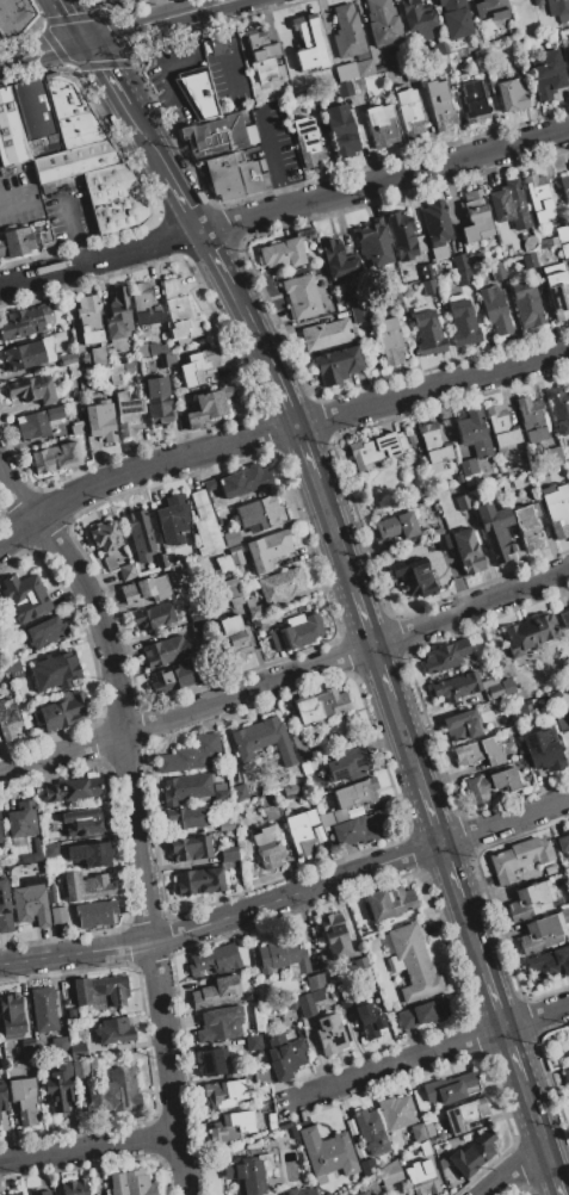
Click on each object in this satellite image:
building: (137, 0)
building: (123, 1)
road: (166, 8)
building: (558, 8)
building: (491, 10)
building: (416, 14)
building: (14, 16)
building: (456, 18)
road: (75, 19)
road: (161, 19)
building: (383, 23)
building: (347, 32)
traffic signals: (88, 39)
building: (218, 43)
road: (233, 43)
building: (309, 43)
building: (439, 48)
road: (44, 51)
building: (568, 54)
building: (262, 56)
building: (398, 58)
building: (478, 61)
building: (440, 62)
building: (379, 68)
road: (165, 69)
building: (353, 69)
road: (106, 72)
building: (412, 73)
building: (546, 74)
building: (297, 86)
building: (351, 87)
building: (197, 92)
building: (512, 95)
building: (310, 98)
building: (474, 99)
building: (440, 105)
building: (409, 113)
building: (21, 119)
building: (381, 125)
road: (138, 128)
building: (341, 130)
building: (308, 142)
building: (219, 150)
road: (271, 159)
building: (89, 160)
building: (568, 163)
building: (260, 166)
building: (237, 168)
building: (253, 178)
building: (565, 187)
road: (175, 191)
building: (539, 198)
building: (509, 204)
road: (284, 209)
building: (475, 216)
building: (435, 223)
building: (562, 234)
building: (44, 236)
building: (403, 236)
building: (546, 241)
building: (16, 242)
building: (373, 242)
building: (564, 250)
building: (283, 253)
road: (214, 258)
building: (336, 260)
building: (466, 260)
building: (528, 261)
building: (426, 271)
building: (496, 271)
building: (464, 277)
building: (440, 284)
building: (428, 286)
building: (557, 290)
building: (301, 296)
building: (394, 296)
building: (342, 297)
building: (526, 304)
building: (143, 305)
building: (495, 309)
building: (359, 310)
building: (179, 312)
building: (118, 314)
building: (88, 320)
building: (23, 322)
building: (463, 323)
road: (249, 327)
building: (427, 332)
building: (326, 334)
building: (389, 341)
building: (156, 348)
building: (25, 355)
building: (99, 358)
building: (67, 359)
building: (173, 359)
building: (163, 360)
building: (336, 364)
building: (198, 366)
building: (73, 370)
building: (119, 371)
building: (33, 389)
road: (433, 389)
road: (284, 397)
building: (156, 400)
building: (209, 405)
building: (559, 409)
building: (128, 413)
building: (531, 419)
building: (100, 421)
building: (38, 422)
building: (76, 425)
building: (501, 426)
building: (474, 434)
building: (433, 446)
building: (377, 450)
road: (307, 452)
building: (551, 454)
building: (56, 457)
building: (469, 466)
road: (141, 468)
building: (245, 481)
building: (210, 485)
building: (463, 502)
building: (556, 509)
building: (258, 514)
building: (221, 515)
building: (173, 519)
road: (332, 522)
building: (205, 525)
building: (397, 526)
building: (527, 526)
building: (495, 530)
building: (105, 535)
building: (141, 535)
building: (231, 538)
building: (443, 543)
building: (267, 550)
building: (468, 551)
building: (235, 556)
building: (160, 561)
building: (110, 563)
building: (177, 568)
building: (126, 572)
building: (414, 576)
building: (282, 584)
building: (146, 589)
building: (233, 592)
building: (25, 597)
road: (359, 603)
building: (254, 608)
building: (196, 614)
building: (154, 615)
building: (564, 619)
building: (45, 632)
building: (296, 632)
building: (530, 633)
building: (234, 638)
building: (165, 651)
building: (445, 656)
building: (13, 669)
building: (55, 671)
road: (383, 673)
road: (285, 675)
building: (173, 677)
building: (457, 686)
building: (493, 692)
building: (321, 706)
building: (63, 711)
building: (518, 711)
building: (8, 718)
building: (505, 722)
building: (562, 722)
building: (462, 725)
building: (262, 739)
road: (407, 745)
building: (301, 748)
building: (543, 749)
building: (478, 751)
building: (190, 754)
building: (347, 764)
building: (304, 768)
building: (490, 784)
building: (185, 787)
building: (69, 791)
building: (219, 791)
building: (239, 793)
building: (348, 799)
building: (268, 806)
road: (131, 815)
road: (431, 815)
building: (187, 817)
building: (21, 819)
building: (84, 822)
building: (224, 825)
building: (361, 829)
building: (301, 832)
building: (0, 836)
building: (563, 842)
building: (267, 847)
building: (191, 848)
building: (50, 850)
building: (33, 853)
building: (229, 854)
building: (89, 855)
building: (518, 857)
building: (225, 863)
road: (360, 869)
building: (550, 869)
building: (199, 881)
building: (558, 881)
road: (453, 883)
building: (86, 886)
building: (50, 893)
building: (530, 900)
building: (31, 902)
building: (389, 902)
building: (5, 908)
building: (95, 912)
building: (58, 915)
building: (543, 933)
building: (318, 937)
building: (334, 937)
road: (476, 947)
road: (75, 953)
building: (282, 958)
building: (216, 959)
building: (410, 961)
building: (549, 962)
building: (361, 965)
building: (315, 980)
building: (100, 990)
building: (216, 992)
building: (249, 996)
building: (342, 996)
road: (494, 998)
building: (290, 1003)
building: (308, 1003)
building: (44, 1009)
building: (11, 1014)
building: (422, 1014)
building: (370, 1021)
building: (218, 1024)
building: (251, 1026)
building: (115, 1030)
building: (329, 1035)
building: (252, 1040)
building: (60, 1045)
building: (29, 1048)
building: (78, 1050)
road: (432, 1050)
road: (514, 1054)
building: (284, 1055)
building: (211, 1060)
building: (85, 1067)
building: (260, 1075)
building: (565, 1076)
building: (60, 1086)
building: (451, 1088)
building: (115, 1092)
building: (225, 1092)
building: (2, 1097)
building: (24, 1100)
building: (259, 1108)
building: (395, 1113)
road: (533, 1113)
building: (464, 1114)
building: (270, 1120)
building: (351, 1125)
building: (230, 1127)
building: (428, 1129)
building: (371, 1131)
building: (418, 1132)
building: (266, 1143)
road: (87, 1147)
building: (359, 1150)
building: (422, 1150)
building: (472, 1153)
building: (327, 1156)
building: (441, 1163)
building: (433, 1164)
building: (366, 1166)
road: (513, 1169)
road: (551, 1169)
building: (390, 1172)
building: (247, 1174)
building: (420, 1178)
building: (131, 1183)
building: (74, 1188)
building: (297, 1191)
building: (39, 1193)
building: (12, 1194)
building: (326, 1194)
building: (361, 1194)
building: (378, 1194)

